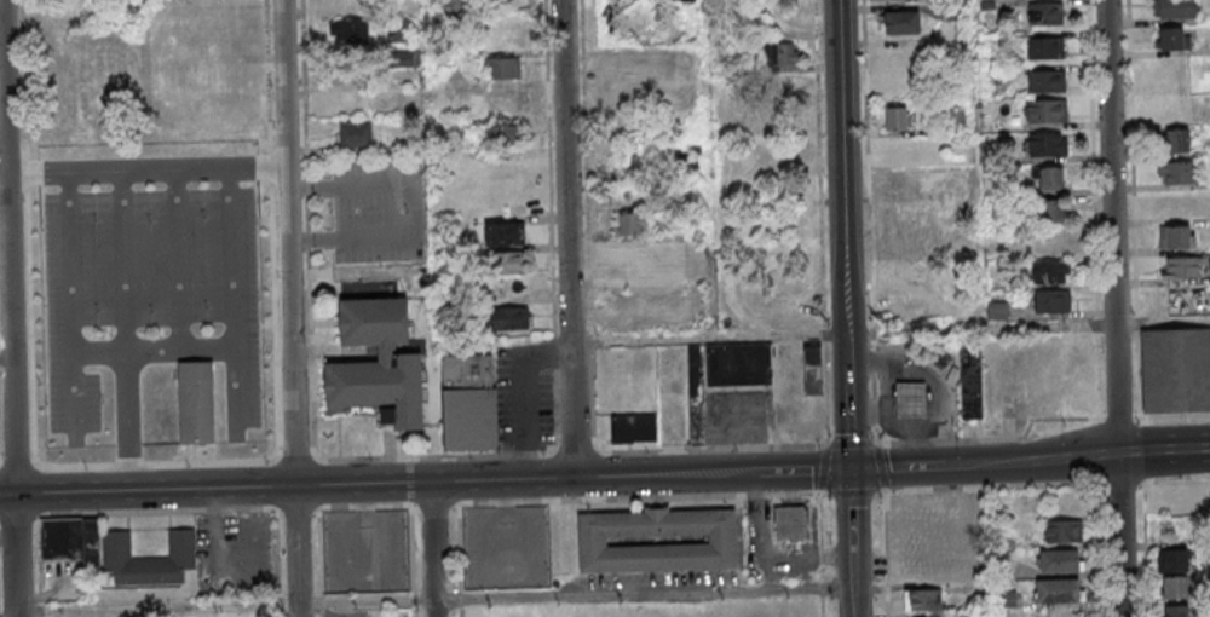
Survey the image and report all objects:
building: (456, 4)
building: (1174, 8)
building: (65, 10)
building: (1045, 13)
building: (901, 22)
building: (399, 30)
building: (350, 33)
building: (1174, 39)
building: (65, 41)
building: (1044, 47)
building: (780, 53)
building: (405, 58)
building: (501, 68)
building: (1045, 80)
building: (506, 98)
building: (1045, 110)
building: (895, 117)
building: (355, 133)
building: (505, 134)
building: (1179, 140)
building: (1047, 143)
road: (841, 167)
road: (705, 168)
building: (1176, 172)
road: (145, 173)
building: (1047, 178)
building: (1051, 212)
building: (632, 225)
building: (503, 233)
building: (1177, 237)
road: (566, 238)
road: (430, 241)
building: (679, 253)
building: (511, 261)
road: (179, 263)
building: (1181, 267)
building: (1051, 273)
building: (906, 276)
parking lot: (149, 301)
road: (234, 301)
building: (1051, 302)
building: (1182, 304)
road: (71, 306)
road: (8, 307)
road: (289, 307)
road: (1113, 307)
building: (997, 311)
building: (508, 318)
road: (283, 327)
road: (1027, 328)
road: (125, 333)
road: (707, 338)
road: (846, 345)
road: (154, 352)
building: (933, 354)
building: (378, 363)
building: (1175, 370)
building: (724, 375)
building: (970, 382)
building: (911, 399)
building: (469, 403)
building: (196, 404)
road: (847, 411)
road: (1171, 420)
road: (1118, 421)
building: (634, 428)
road: (995, 440)
road: (878, 454)
road: (1164, 454)
road: (1031, 461)
road: (18, 468)
road: (897, 468)
road: (79, 469)
traffic signals: (849, 469)
road: (803, 471)
road: (665, 474)
road: (409, 485)
road: (287, 486)
road: (849, 513)
building: (957, 521)
building: (790, 525)
building: (1064, 531)
building: (73, 540)
building: (657, 541)
road: (433, 549)
road: (767, 553)
building: (149, 558)
building: (1060, 560)
building: (1172, 560)
road: (852, 587)
building: (1176, 587)
building: (1060, 590)
road: (644, 595)
building: (923, 599)
road: (250, 607)
building: (1176, 611)

